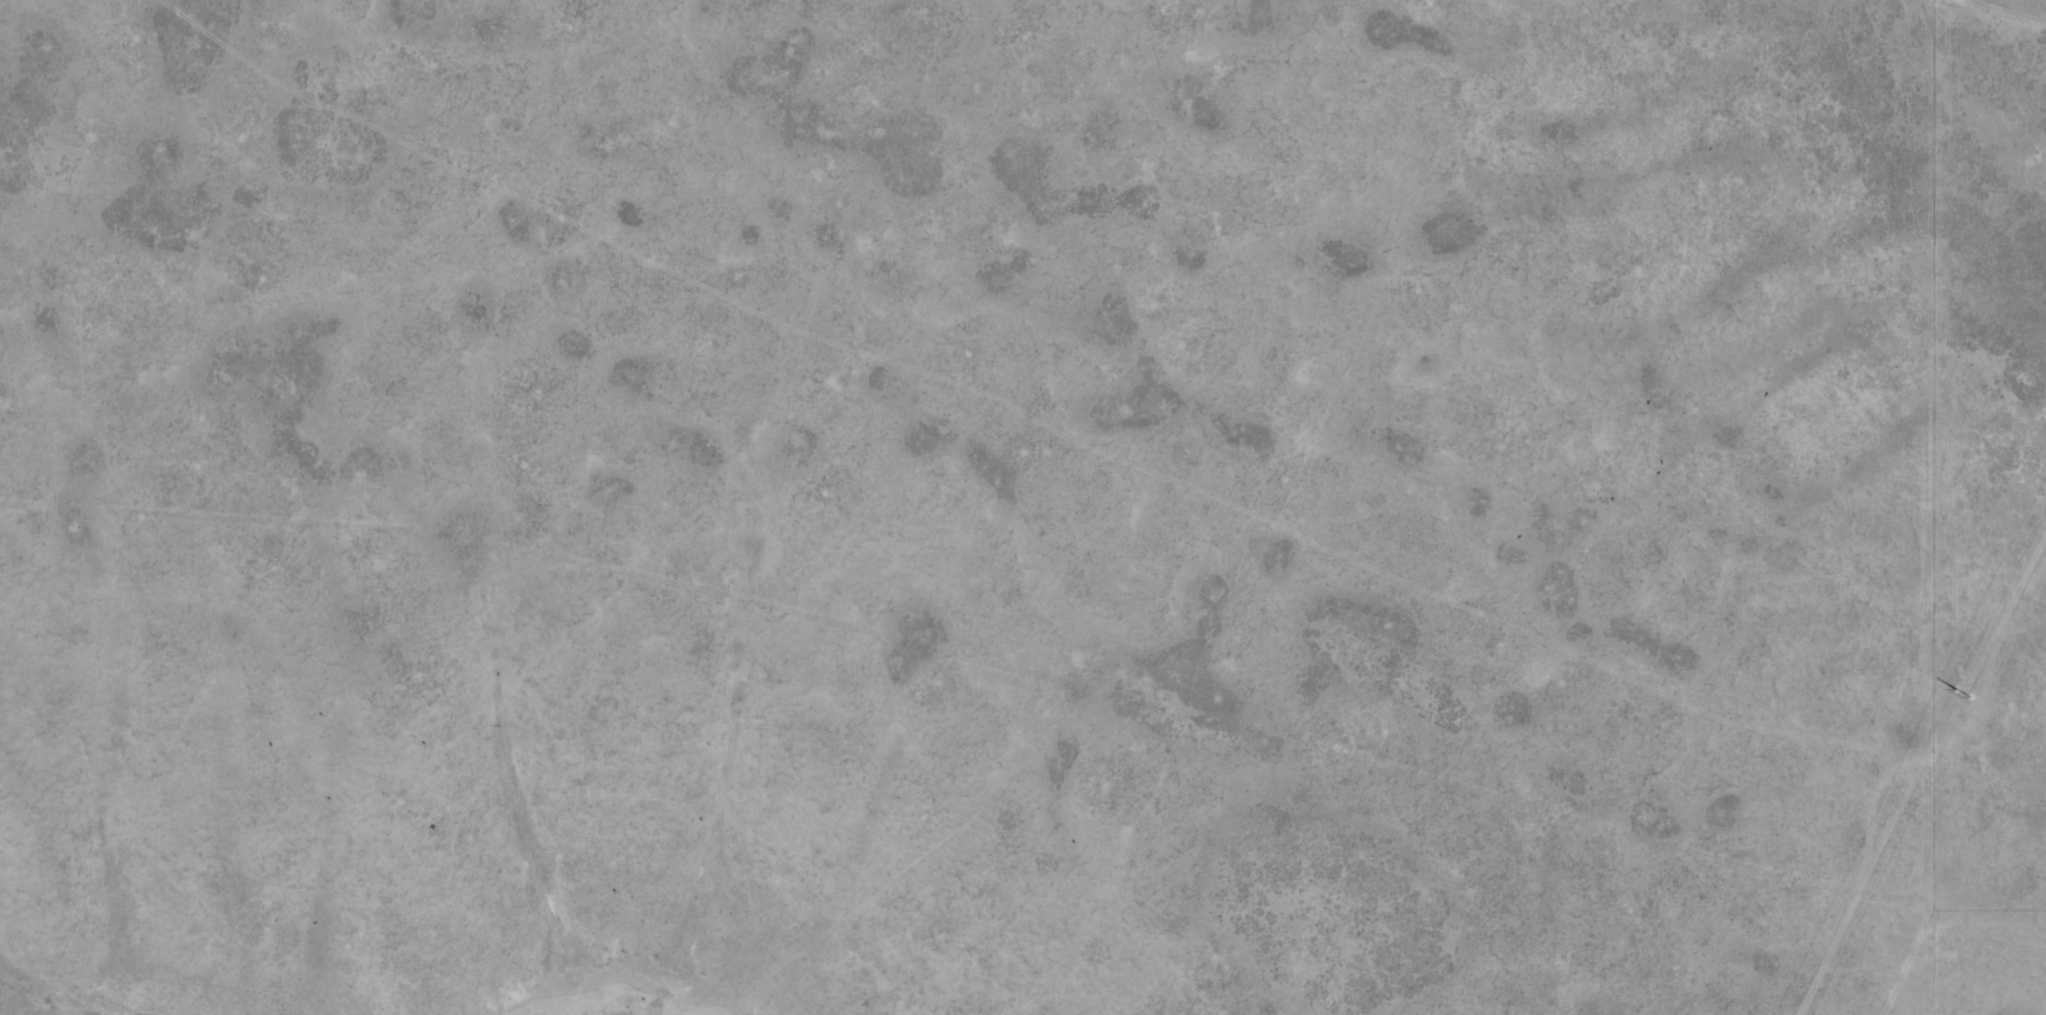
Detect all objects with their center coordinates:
power tower: (1964, 690)

